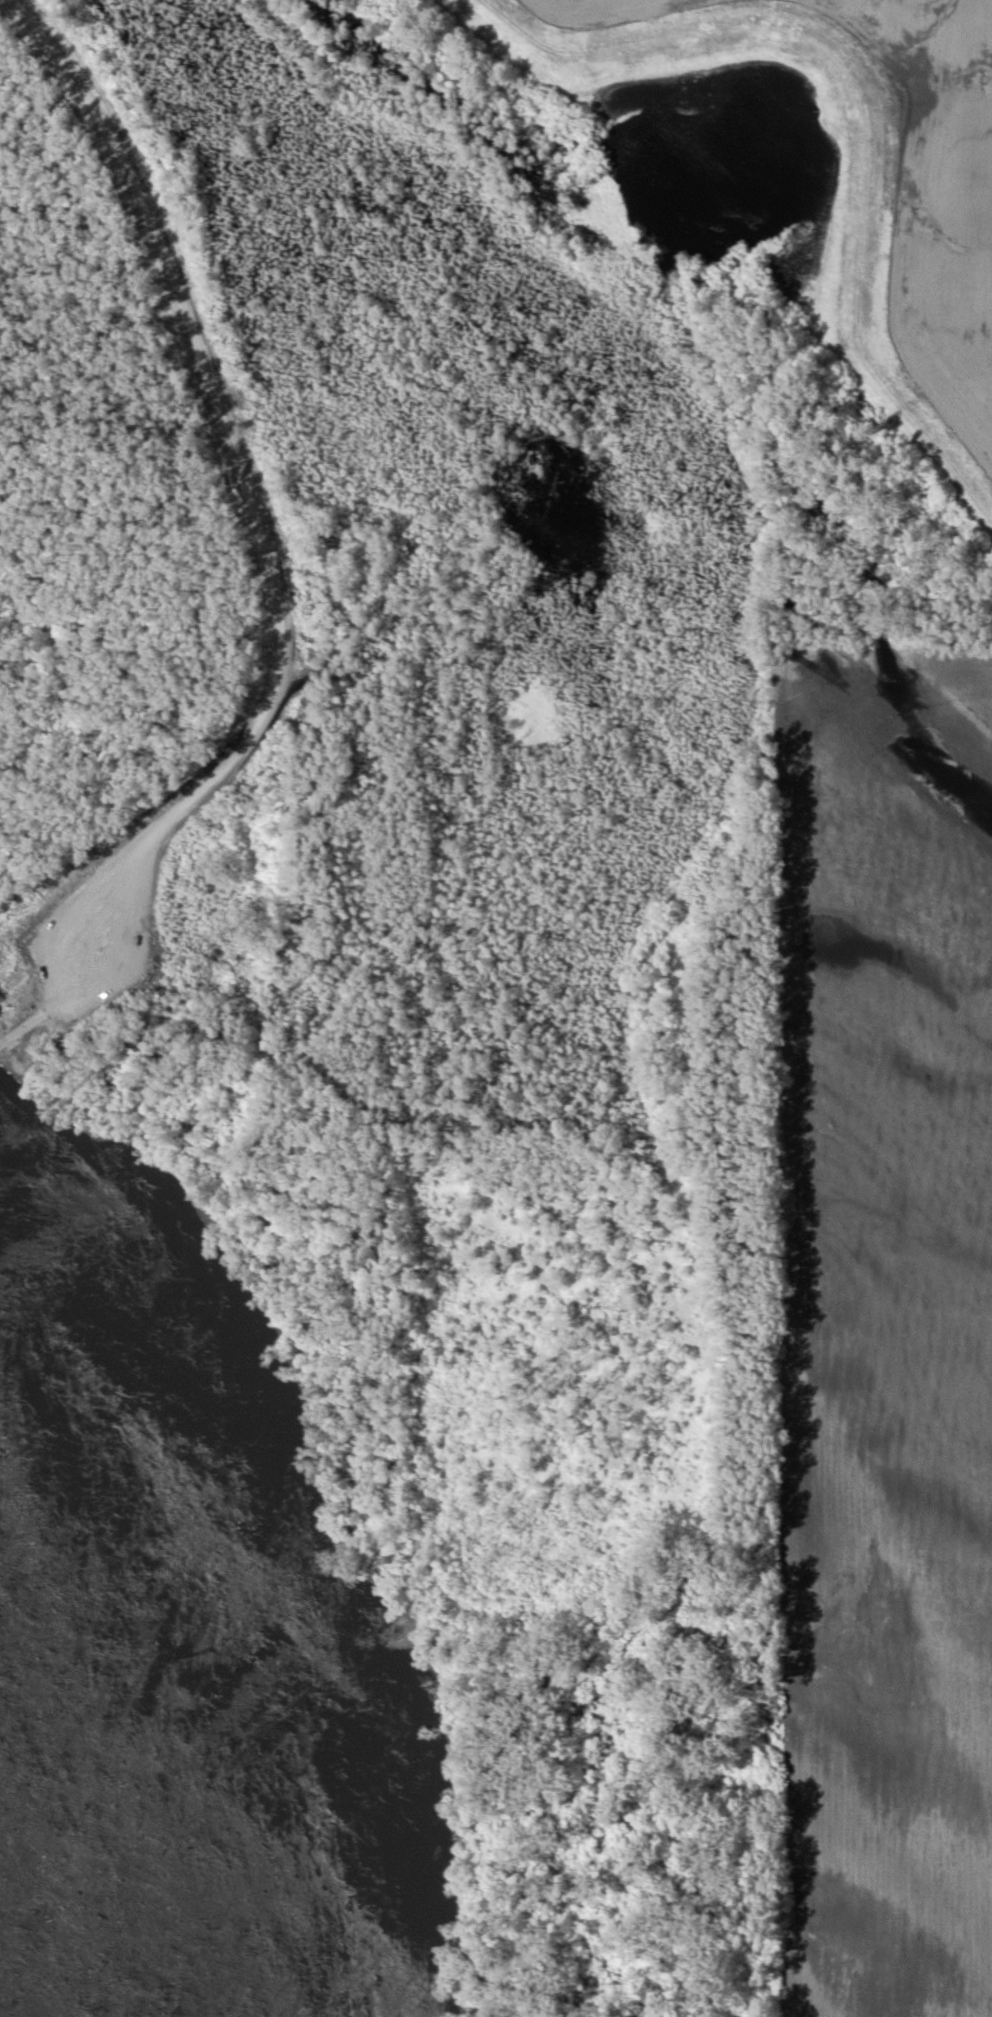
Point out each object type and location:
crop: (605, 10)
crop: (941, 198)
road: (231, 444)
parking lot: (107, 956)
road: (95, 990)
crop: (882, 1350)

